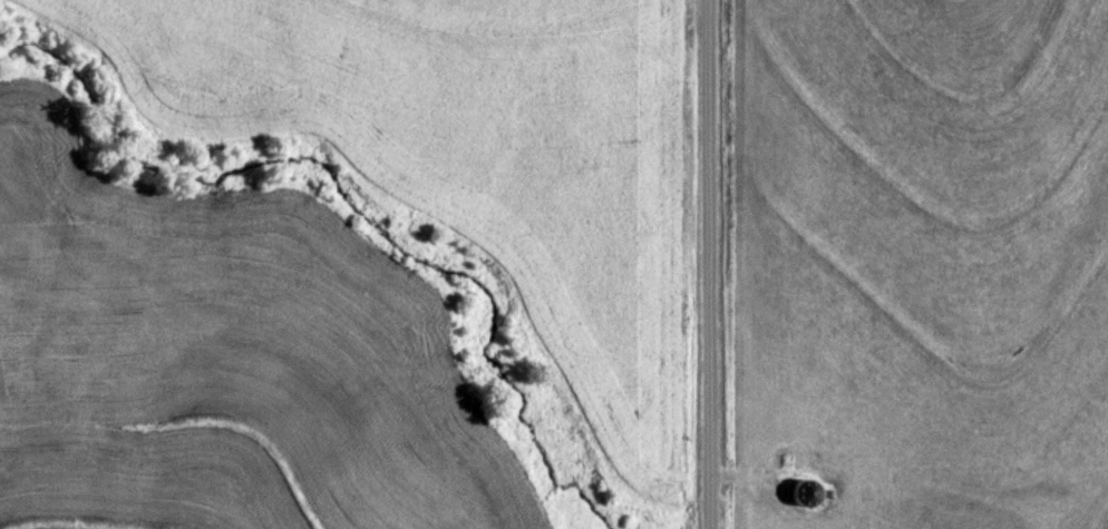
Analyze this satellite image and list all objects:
road: (708, 264)

